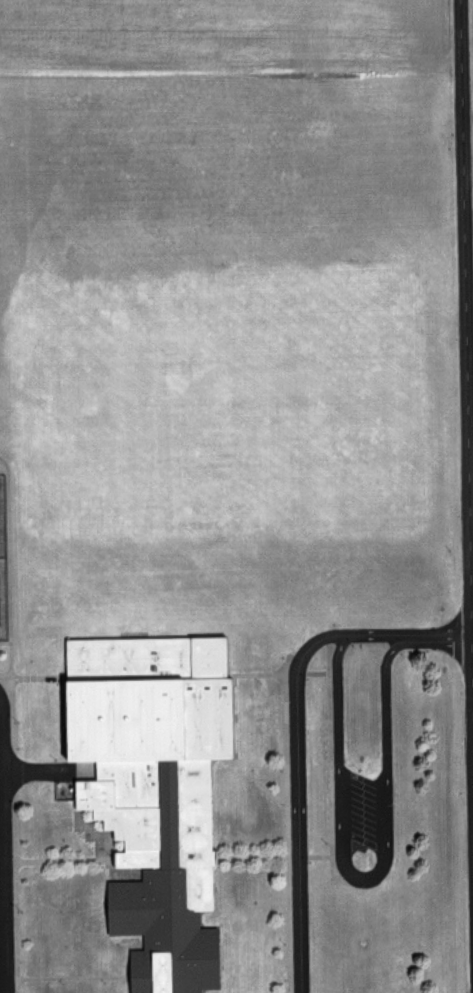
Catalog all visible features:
crop: (221, 33)
road: (469, 114)
road: (467, 228)
road: (471, 332)
road: (452, 640)
road: (319, 674)
road: (261, 675)
road: (296, 675)
road: (38, 678)
road: (8, 679)
road: (17, 714)
road: (335, 747)
road: (299, 758)
road: (19, 774)
building: (161, 790)
road: (293, 824)
flagpole: (123, 842)
parking lot: (8, 849)
road: (2, 852)
road: (257, 857)
road: (300, 857)
road: (321, 857)
road: (10, 861)
road: (67, 861)
road: (377, 881)
road: (22, 895)
road: (74, 979)

